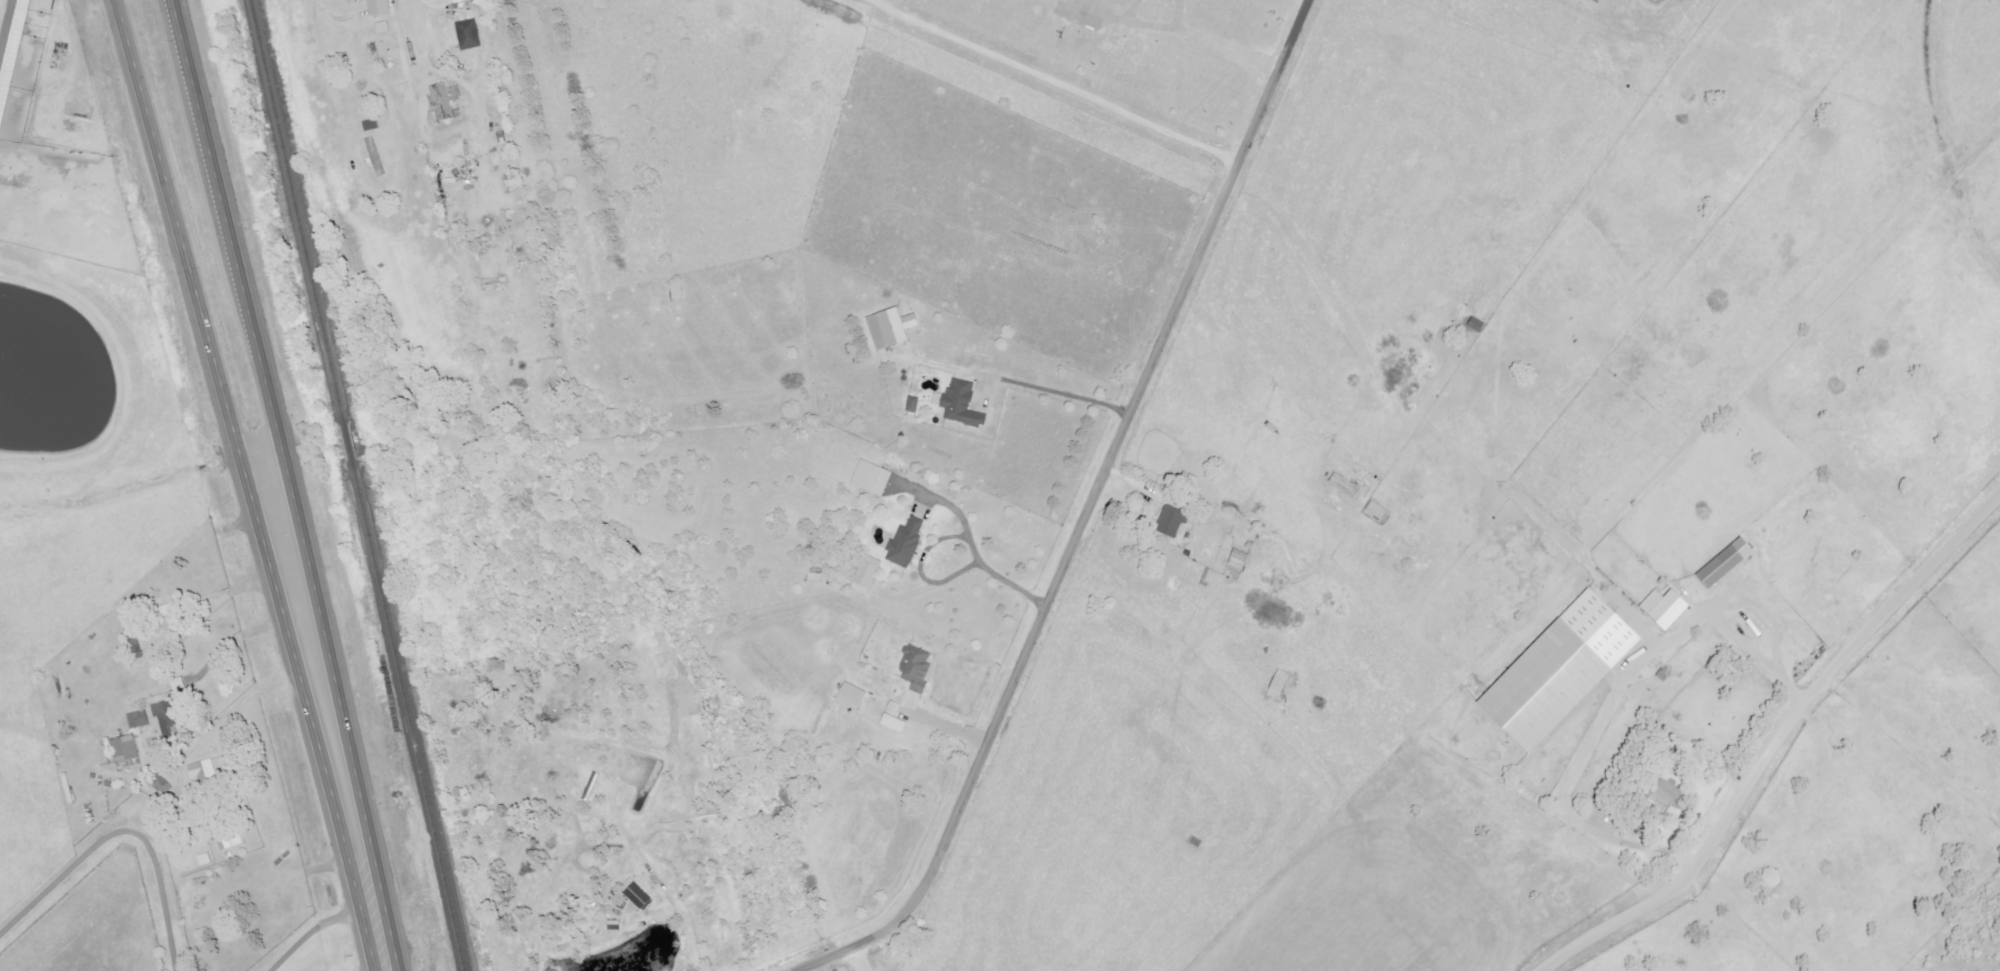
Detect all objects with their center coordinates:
building: (381, 7)
building: (1079, 12)
road: (1179, 16)
road: (332, 19)
road: (1140, 27)
building: (471, 35)
road: (1226, 52)
building: (11, 56)
road: (483, 71)
road: (1055, 83)
building: (445, 102)
road: (228, 242)
road: (177, 249)
building: (895, 328)
road: (1044, 392)
building: (915, 404)
building: (963, 404)
building: (874, 477)
railway: (353, 485)
building: (1347, 485)
building: (1380, 510)
road: (1422, 510)
road: (1087, 514)
building: (1174, 520)
building: (908, 542)
building: (1242, 558)
building: (1730, 562)
building: (868, 575)
building: (818, 578)
road: (1000, 581)
road: (229, 594)
building: (1669, 607)
road: (1760, 618)
building: (919, 667)
building: (1565, 670)
building: (855, 696)
road: (1610, 706)
building: (897, 718)
building: (168, 719)
building: (140, 720)
road: (321, 729)
road: (213, 730)
road: (1774, 744)
building: (129, 750)
building: (205, 771)
building: (163, 785)
building: (1670, 793)
road: (123, 834)
building: (233, 840)
building: (640, 895)
road: (680, 915)
road: (316, 939)
road: (863, 959)

